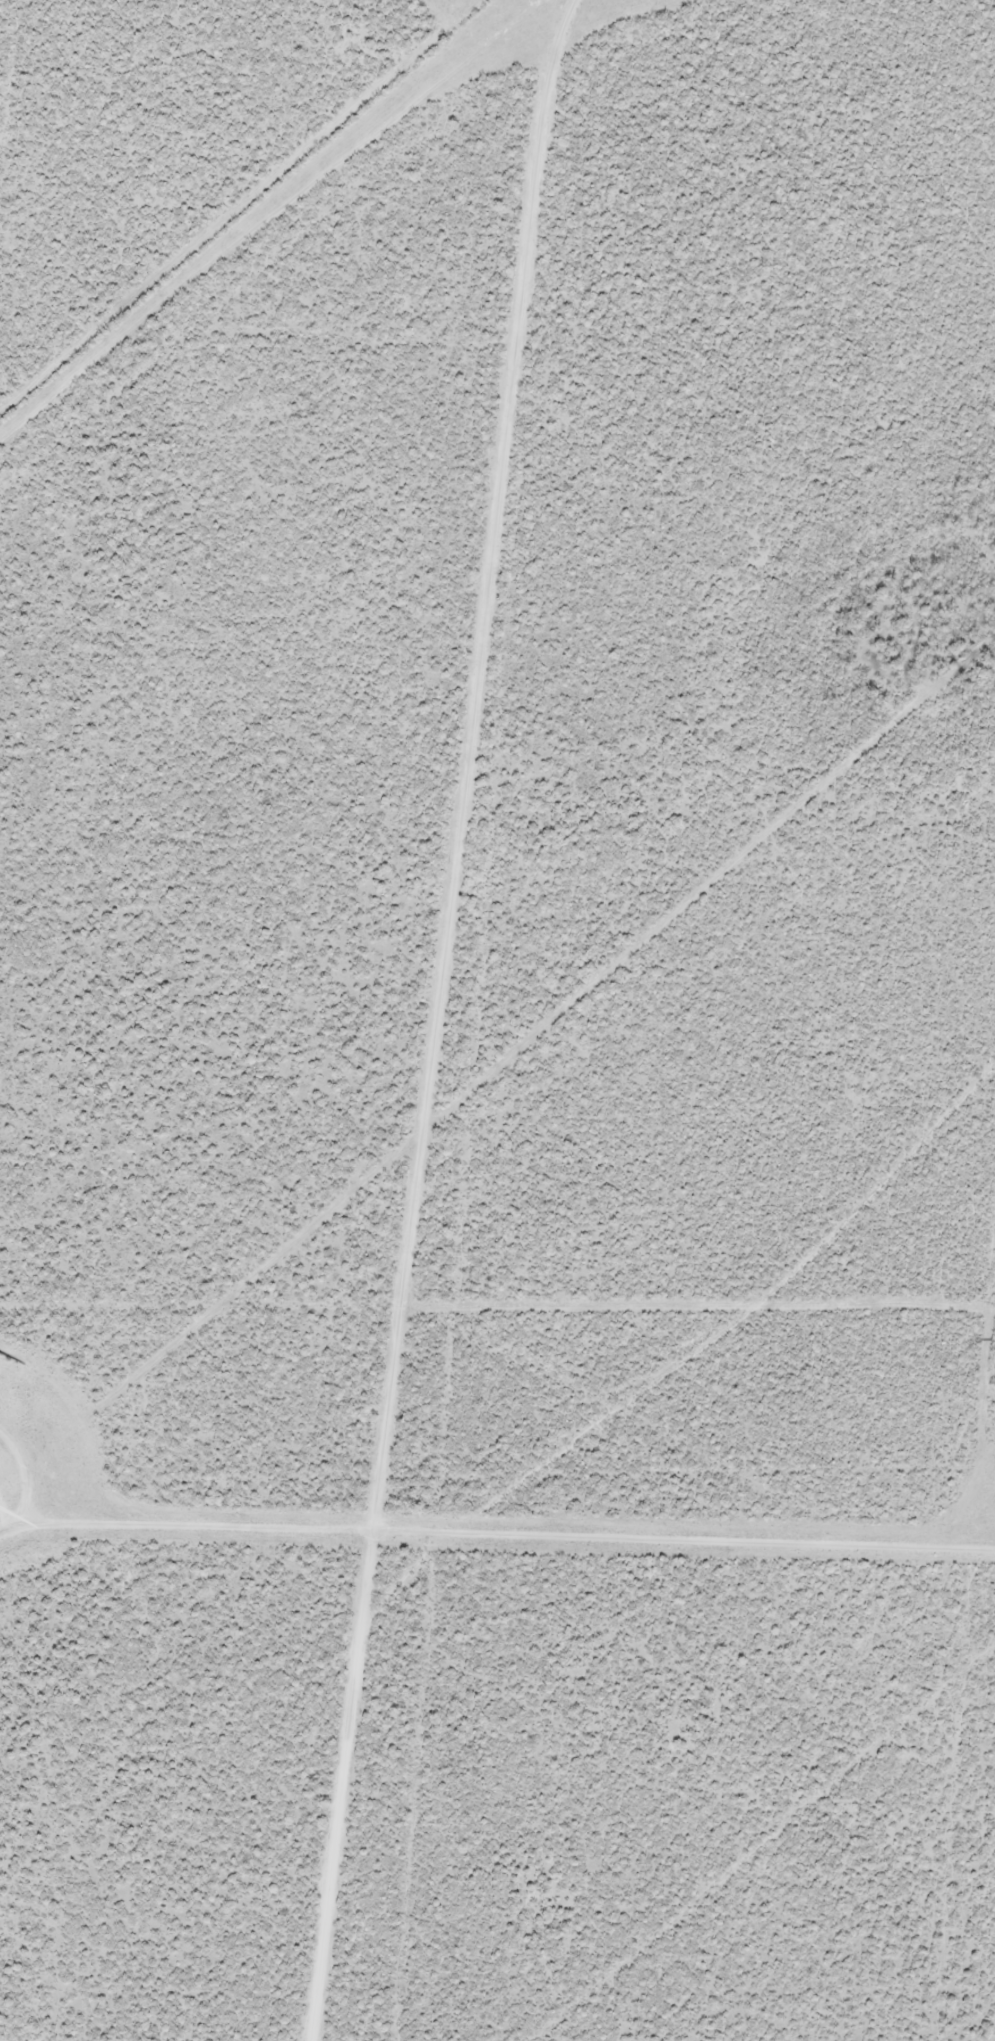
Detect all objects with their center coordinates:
road: (459, 891)
road: (567, 1545)

